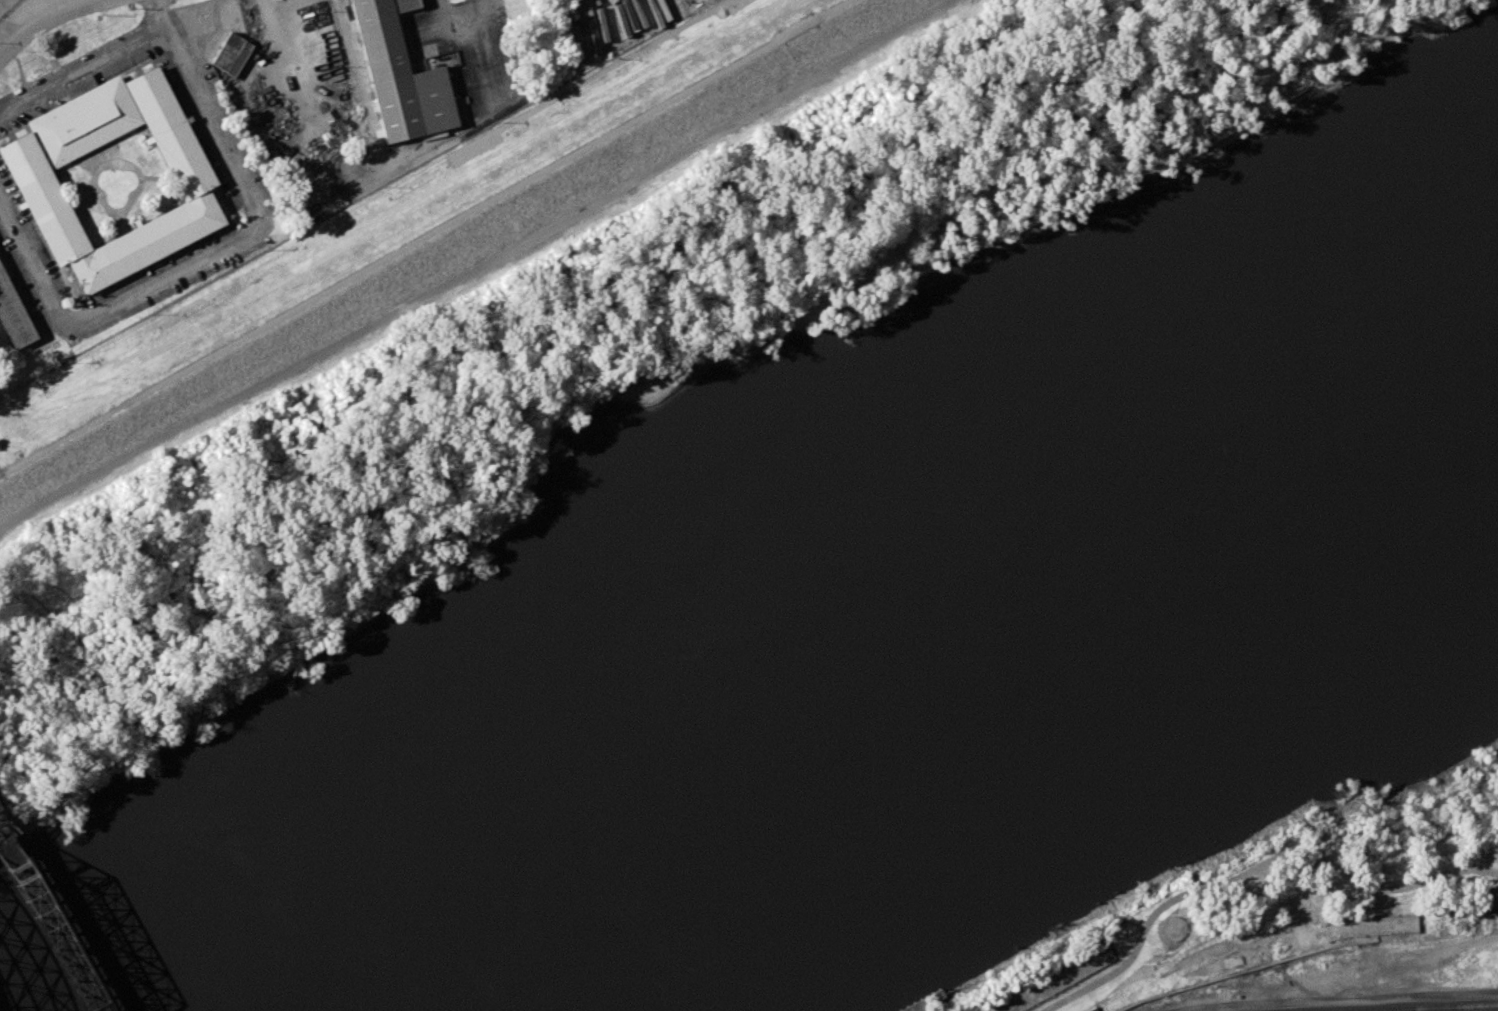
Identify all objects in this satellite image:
road: (439, 17)
road: (46, 20)
road: (7, 35)
road: (274, 40)
building: (231, 53)
parking lot: (135, 58)
road: (80, 63)
road: (354, 69)
building: (398, 77)
parking lot: (10, 124)
parking lot: (199, 136)
road: (606, 138)
parking lot: (242, 156)
building: (32, 176)
parking lot: (32, 234)
road: (210, 250)
parking lot: (156, 265)
parking lot: (24, 282)
parking lot: (171, 288)
building: (13, 317)
road: (178, 375)
river: (856, 666)
road: (1253, 870)
park: (1302, 898)
railway: (50, 917)
railway: (45, 927)
railway: (1421, 1007)

